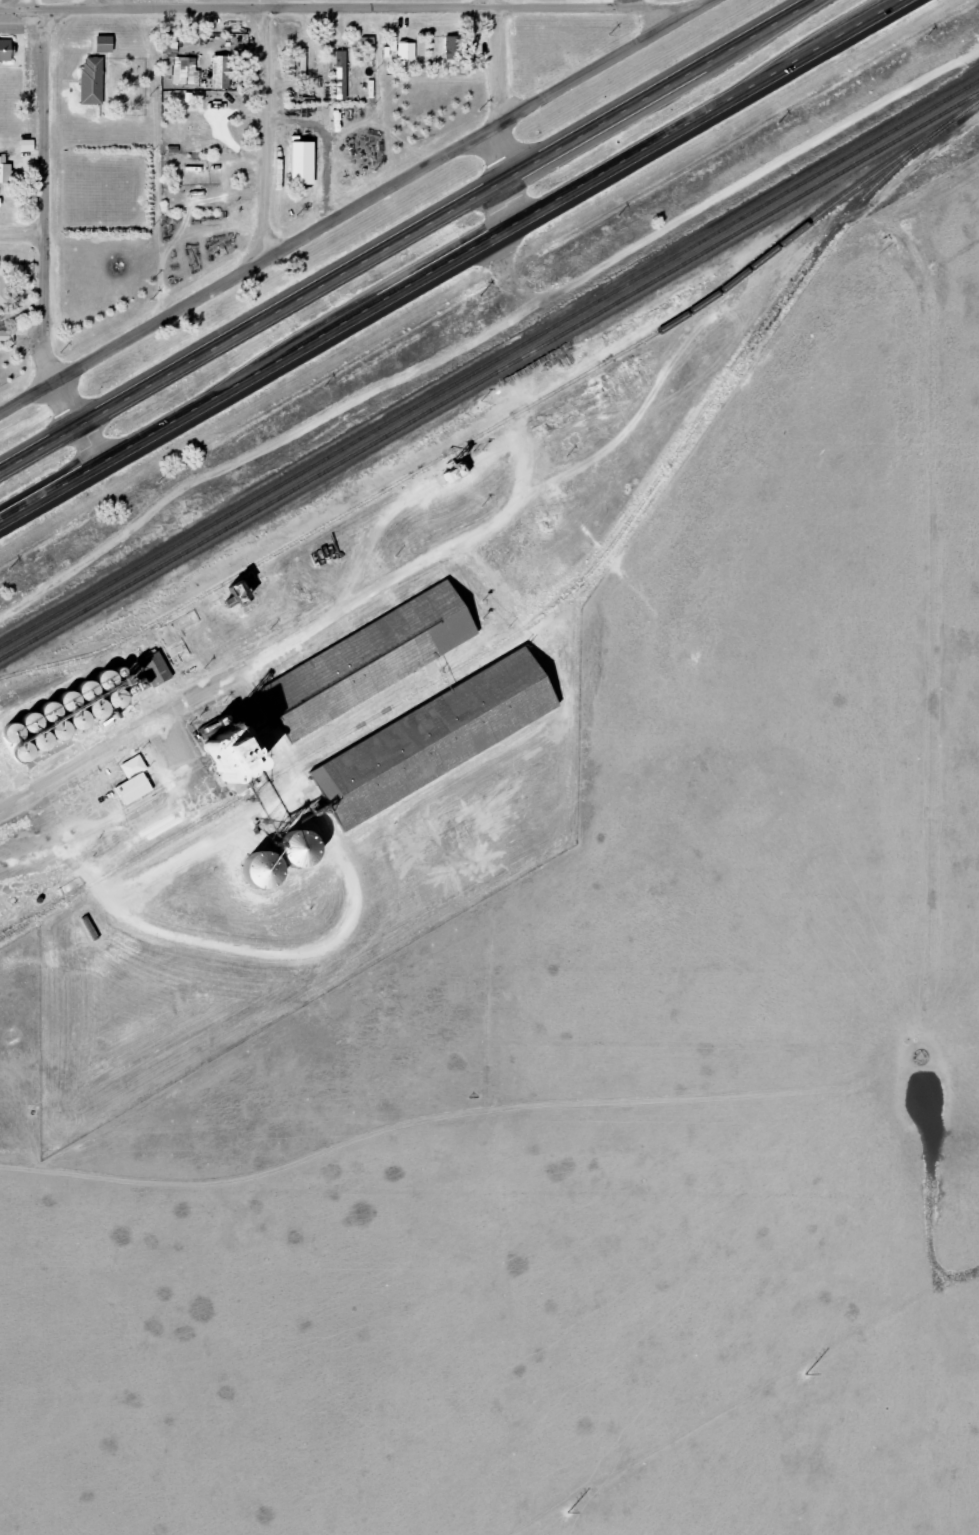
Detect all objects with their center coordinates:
road: (493, 1)
road: (573, 1)
road: (378, 3)
road: (131, 5)
building: (101, 44)
building: (390, 47)
building: (4, 50)
building: (405, 50)
road: (496, 62)
building: (178, 63)
building: (220, 72)
building: (340, 75)
building: (90, 80)
road: (262, 130)
building: (26, 145)
building: (298, 163)
building: (3, 170)
road: (501, 176)
road: (728, 192)
road: (352, 204)
railway: (808, 221)
road: (405, 234)
road: (23, 237)
road: (45, 240)
road: (453, 265)
building: (4, 288)
building: (5, 336)
railway: (489, 362)
railway: (489, 376)
railway: (344, 514)
railway: (560, 599)
building: (422, 747)
building: (131, 781)
power tower: (862, 1335)
power tower: (593, 1491)

